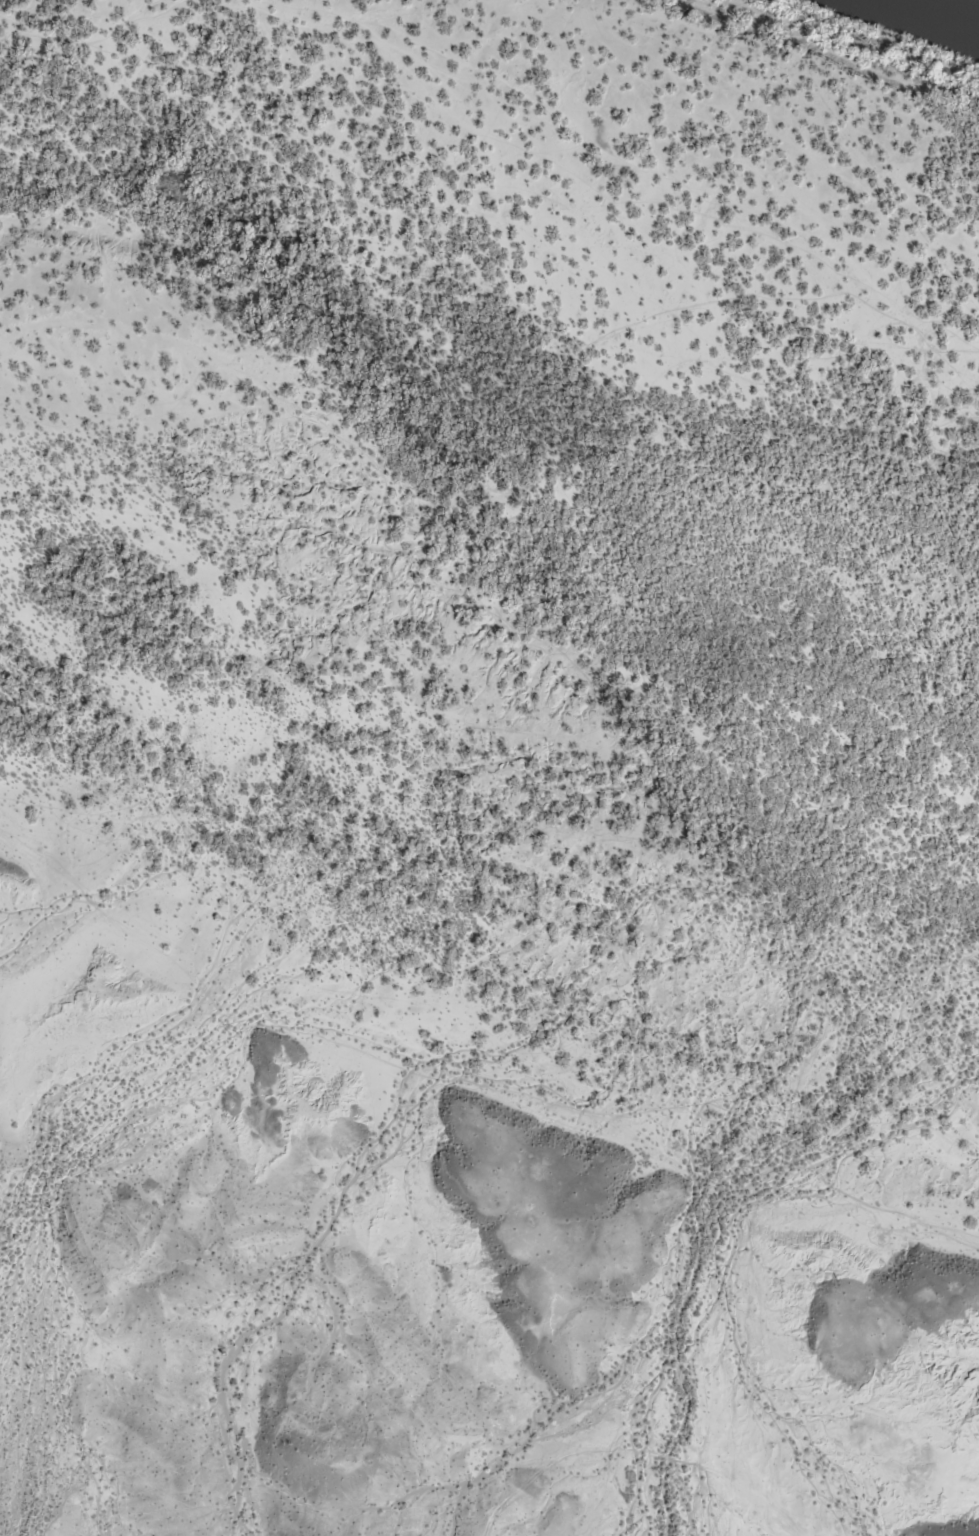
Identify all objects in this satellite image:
river: (942, 13)

